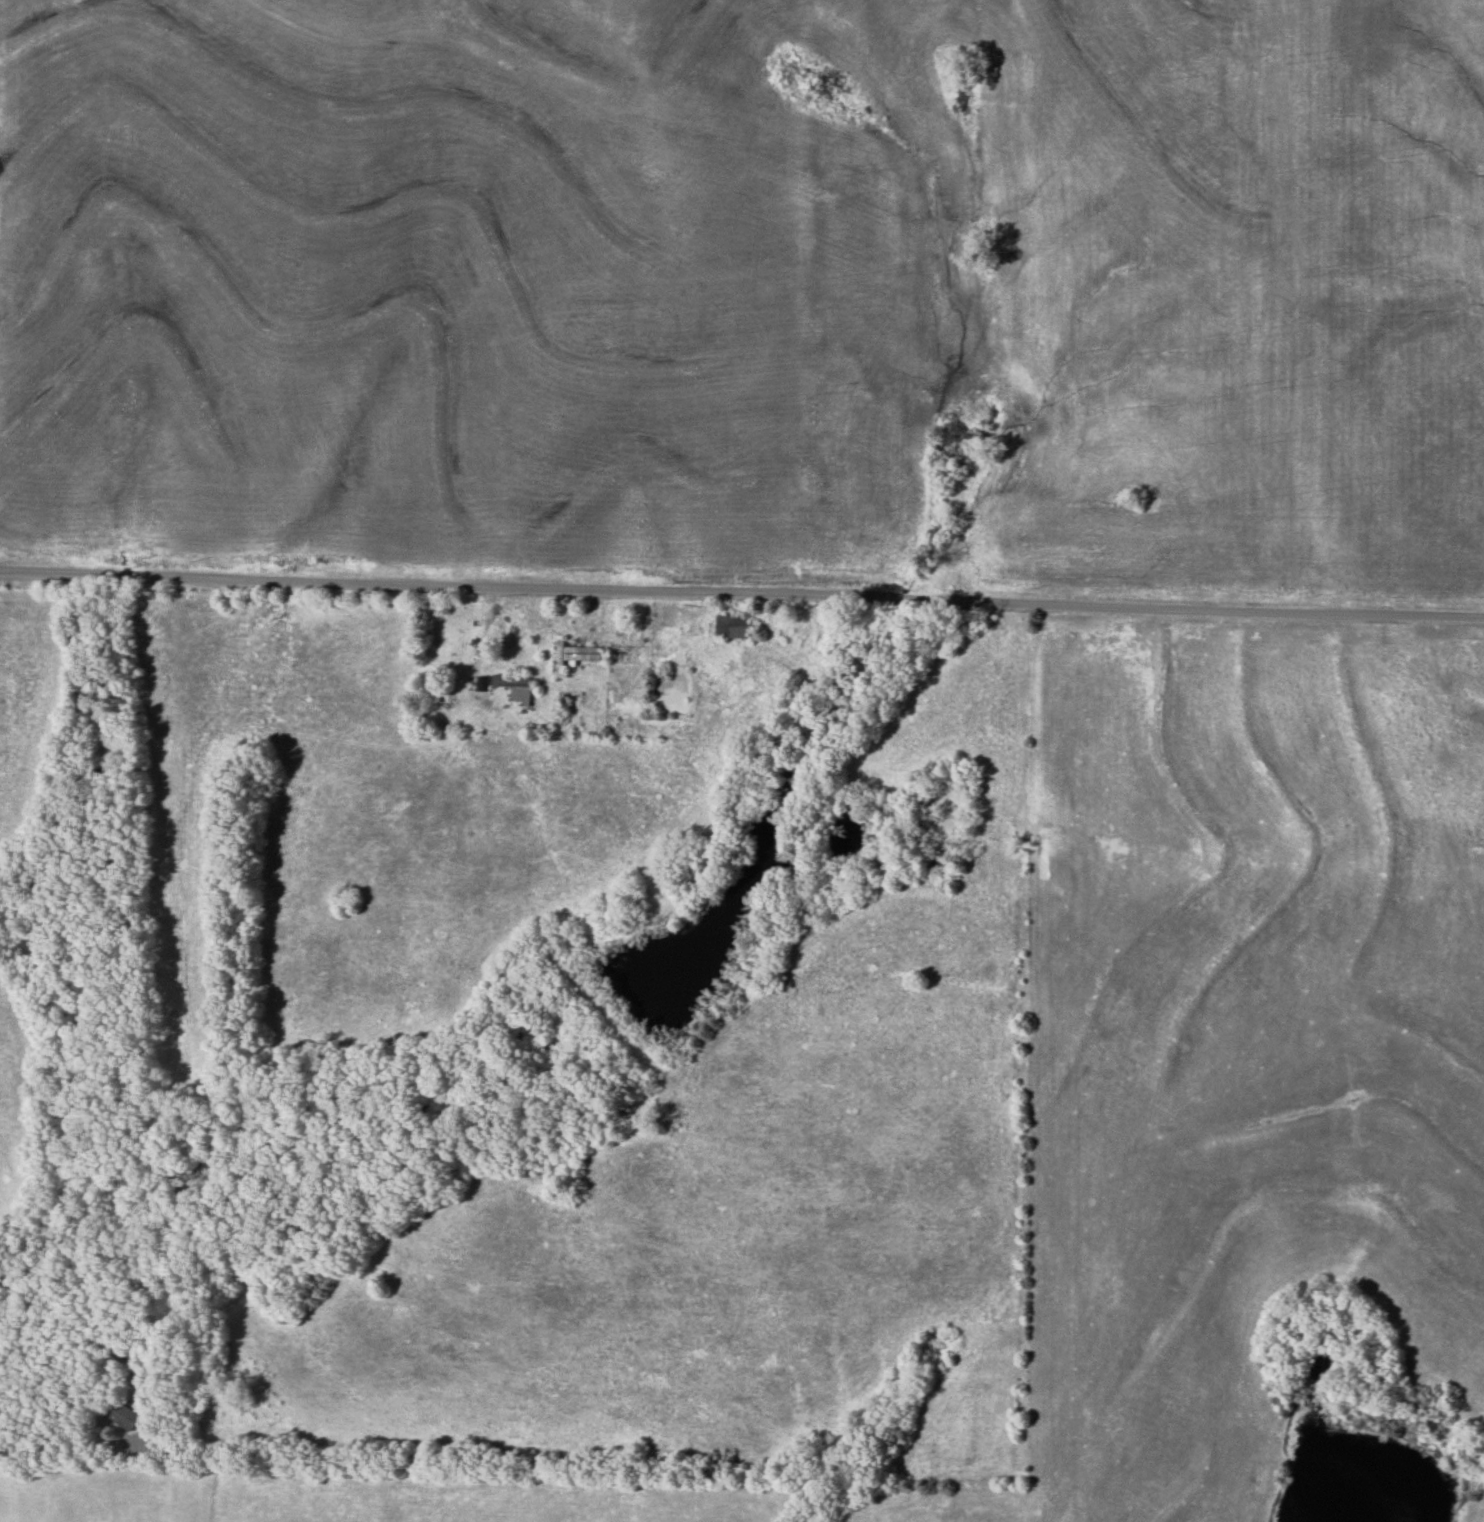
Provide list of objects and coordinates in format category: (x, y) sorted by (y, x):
road: (741, 595)
building: (731, 628)
building: (572, 656)
road: (75, 1448)

